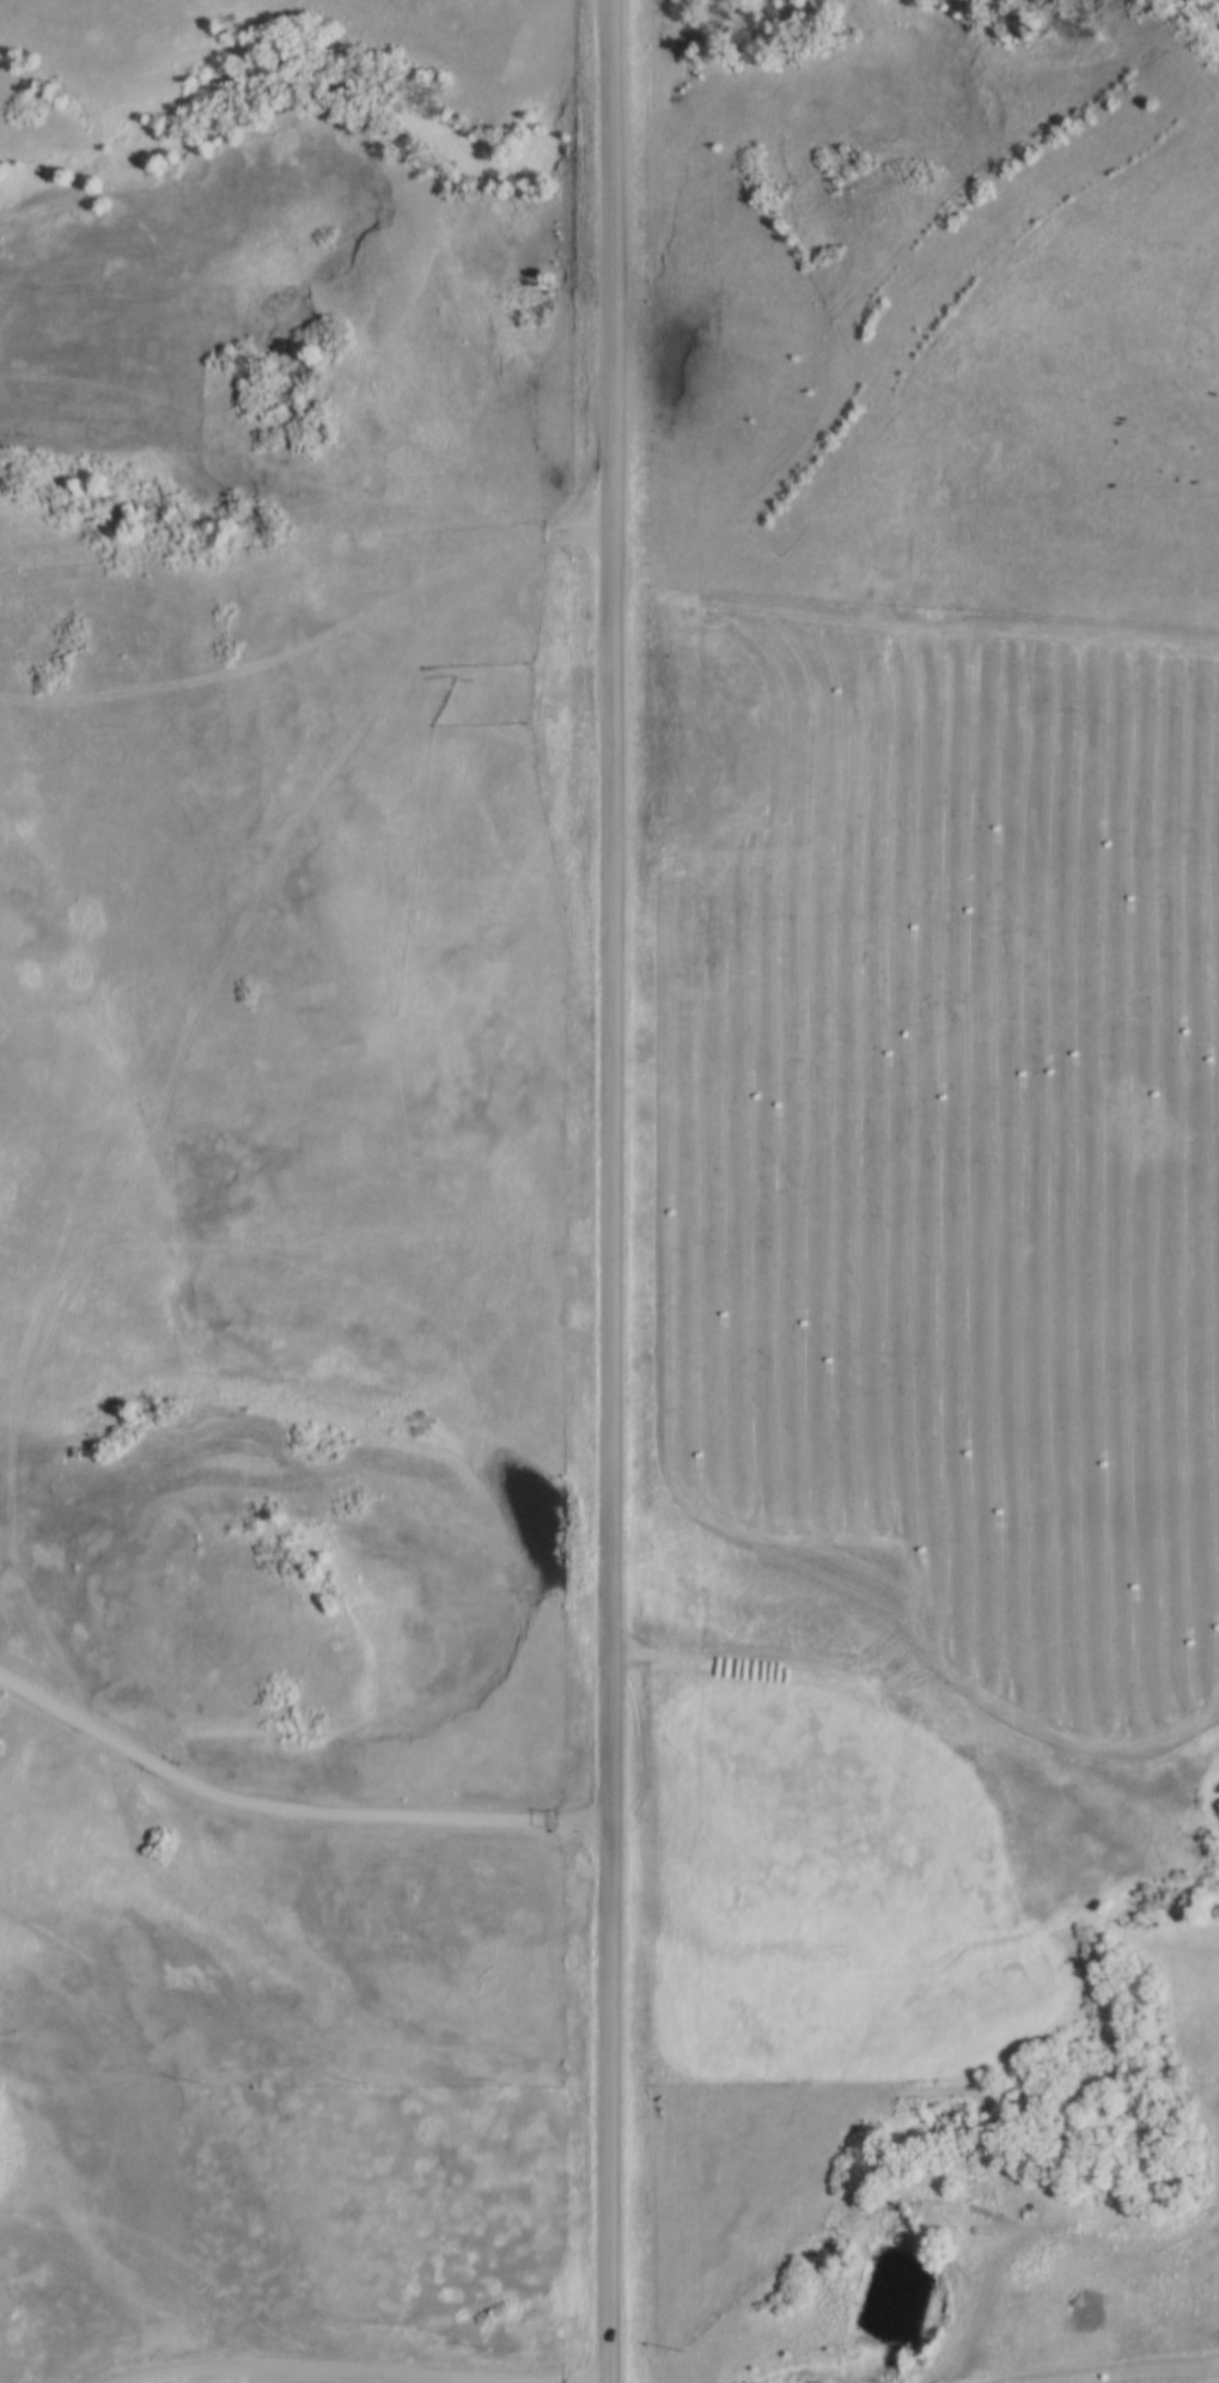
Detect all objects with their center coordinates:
road: (608, 1191)
road: (286, 1810)

